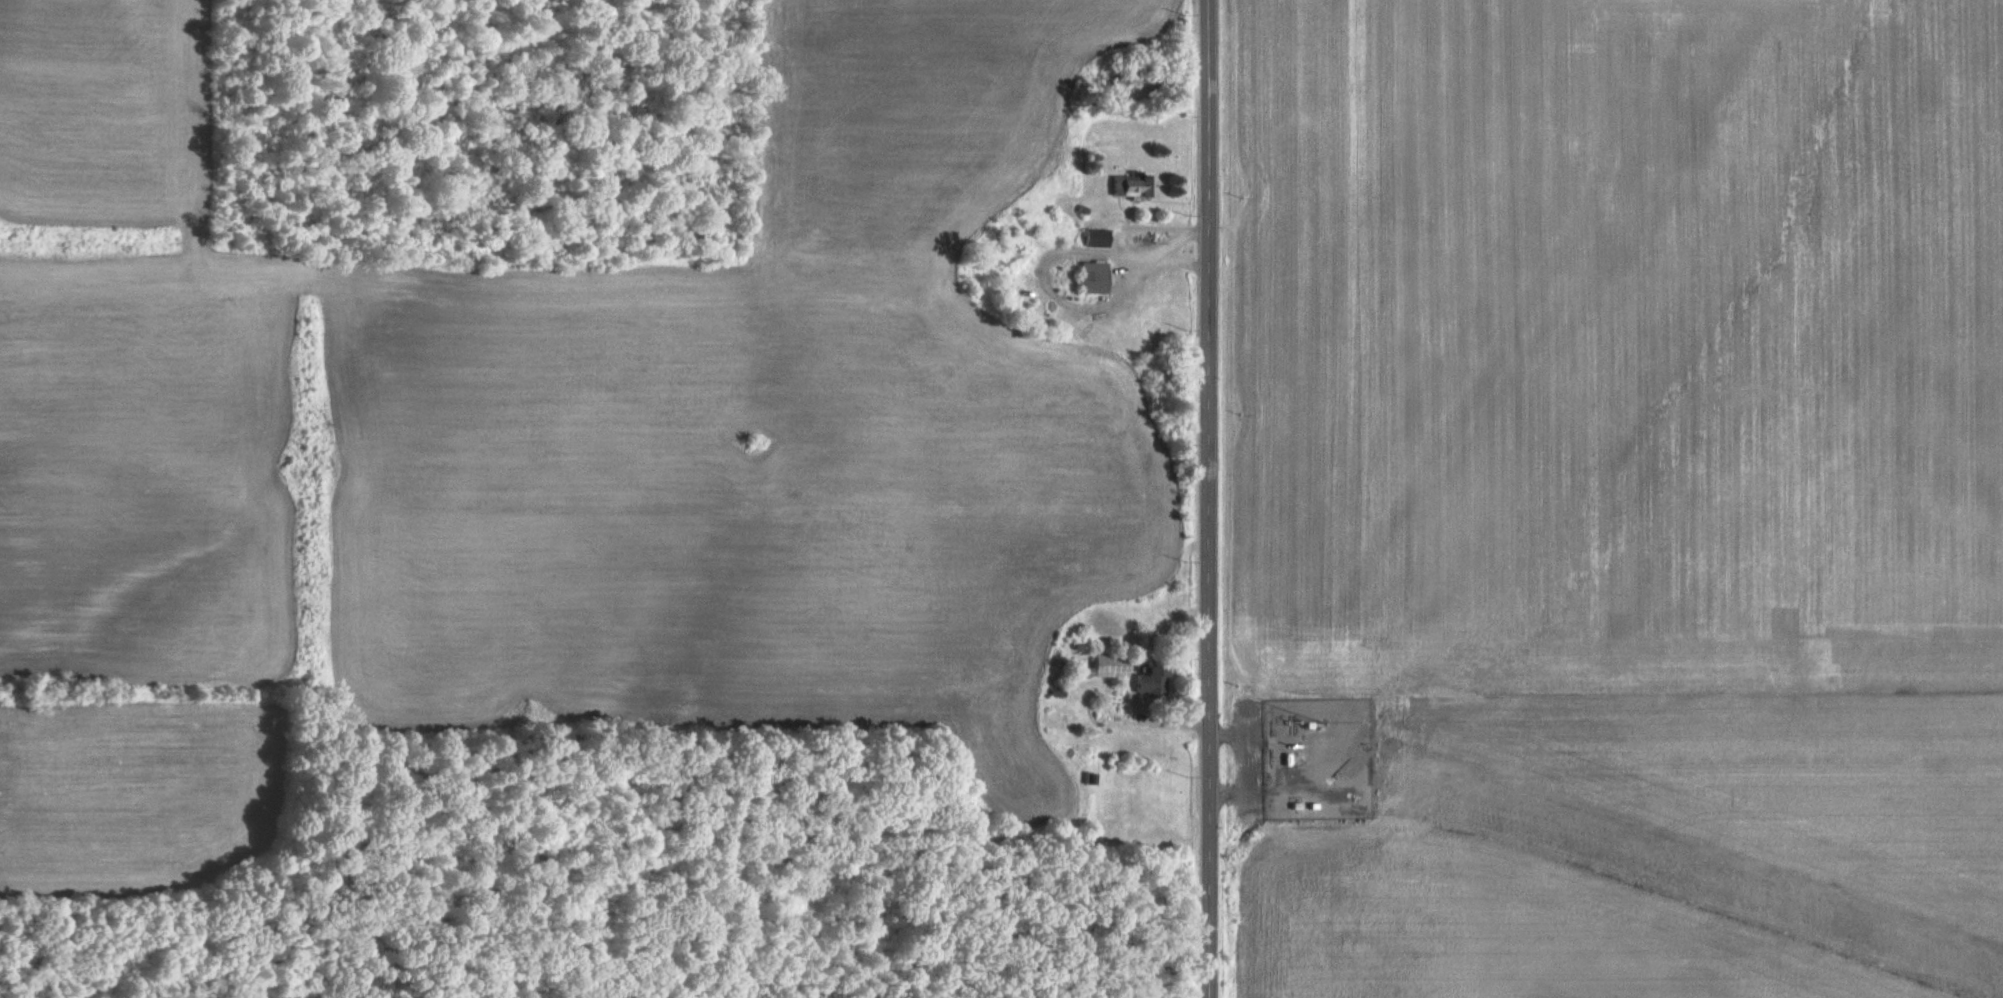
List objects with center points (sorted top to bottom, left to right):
building: (1126, 186)
building: (1092, 238)
building: (1088, 277)
road: (1203, 499)
building: (1108, 666)
building: (1149, 678)

